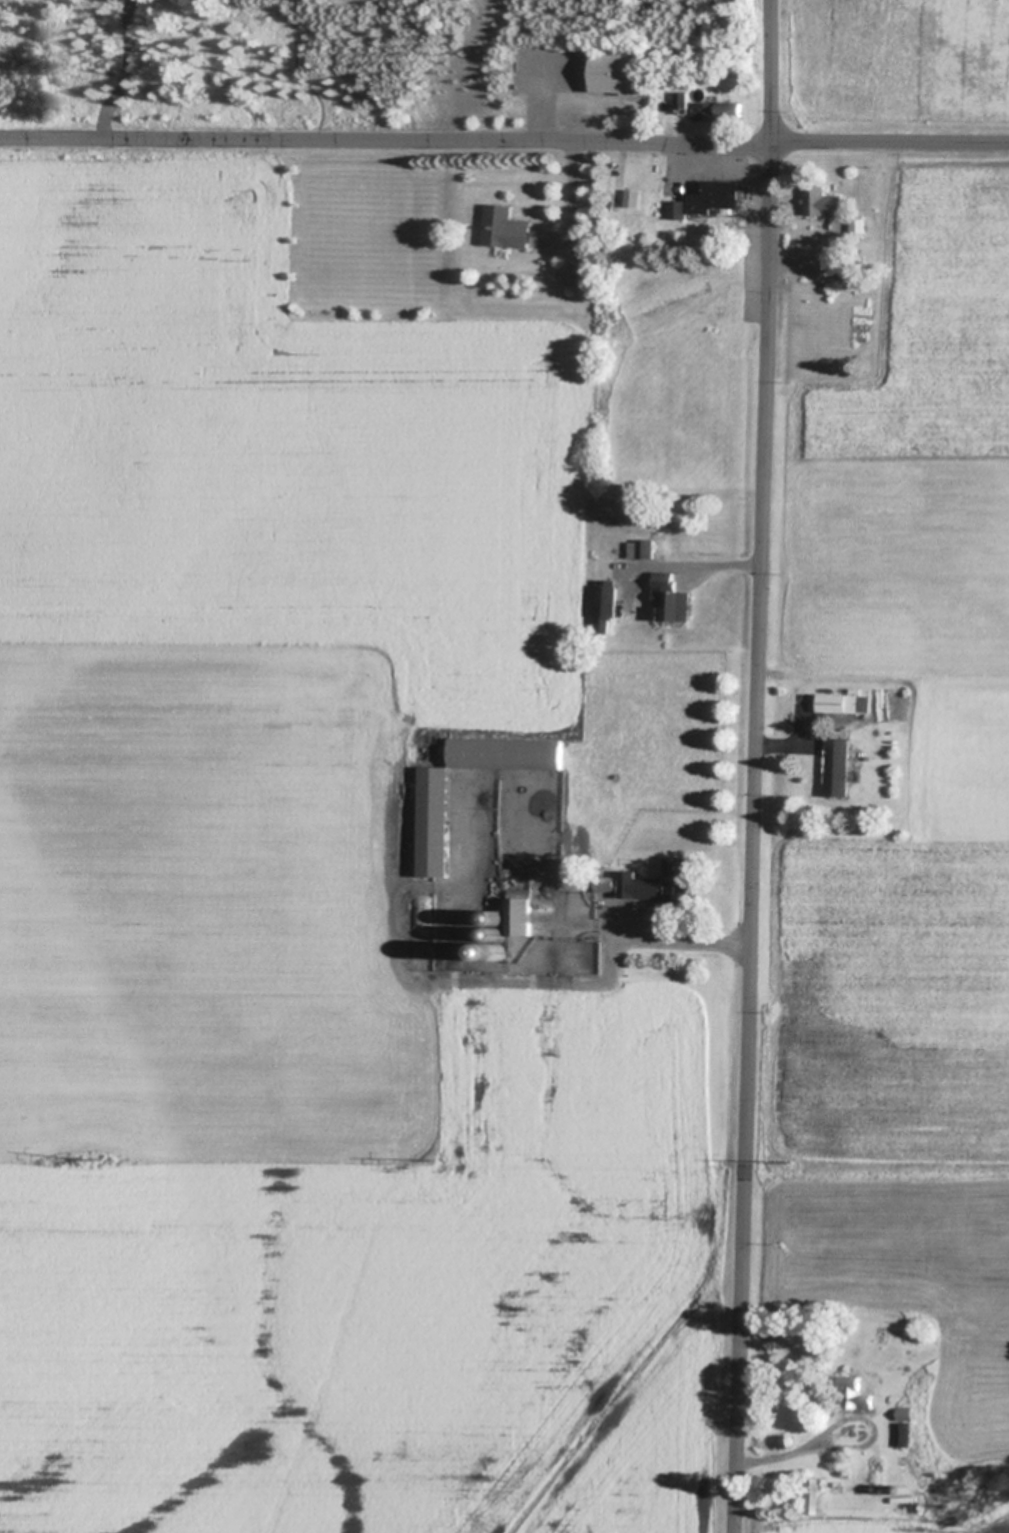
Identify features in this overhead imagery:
building: (620, 74)
building: (684, 99)
building: (717, 109)
road: (504, 143)
building: (710, 197)
building: (635, 198)
building: (824, 200)
building: (860, 223)
building: (508, 227)
building: (585, 274)
building: (644, 548)
building: (610, 564)
building: (673, 596)
building: (607, 603)
building: (845, 702)
building: (818, 734)
building: (509, 752)
road: (757, 766)
building: (839, 766)
building: (437, 821)
building: (667, 881)
building: (609, 883)
building: (521, 915)
building: (501, 920)
building: (423, 932)
building: (501, 935)
building: (671, 943)
building: (500, 952)
power tower: (80, 1160)
power tower: (434, 1162)
power tower: (789, 1162)
building: (856, 1393)
building: (906, 1413)
building: (903, 1435)
building: (774, 1441)
building: (905, 1489)
building: (811, 1495)

